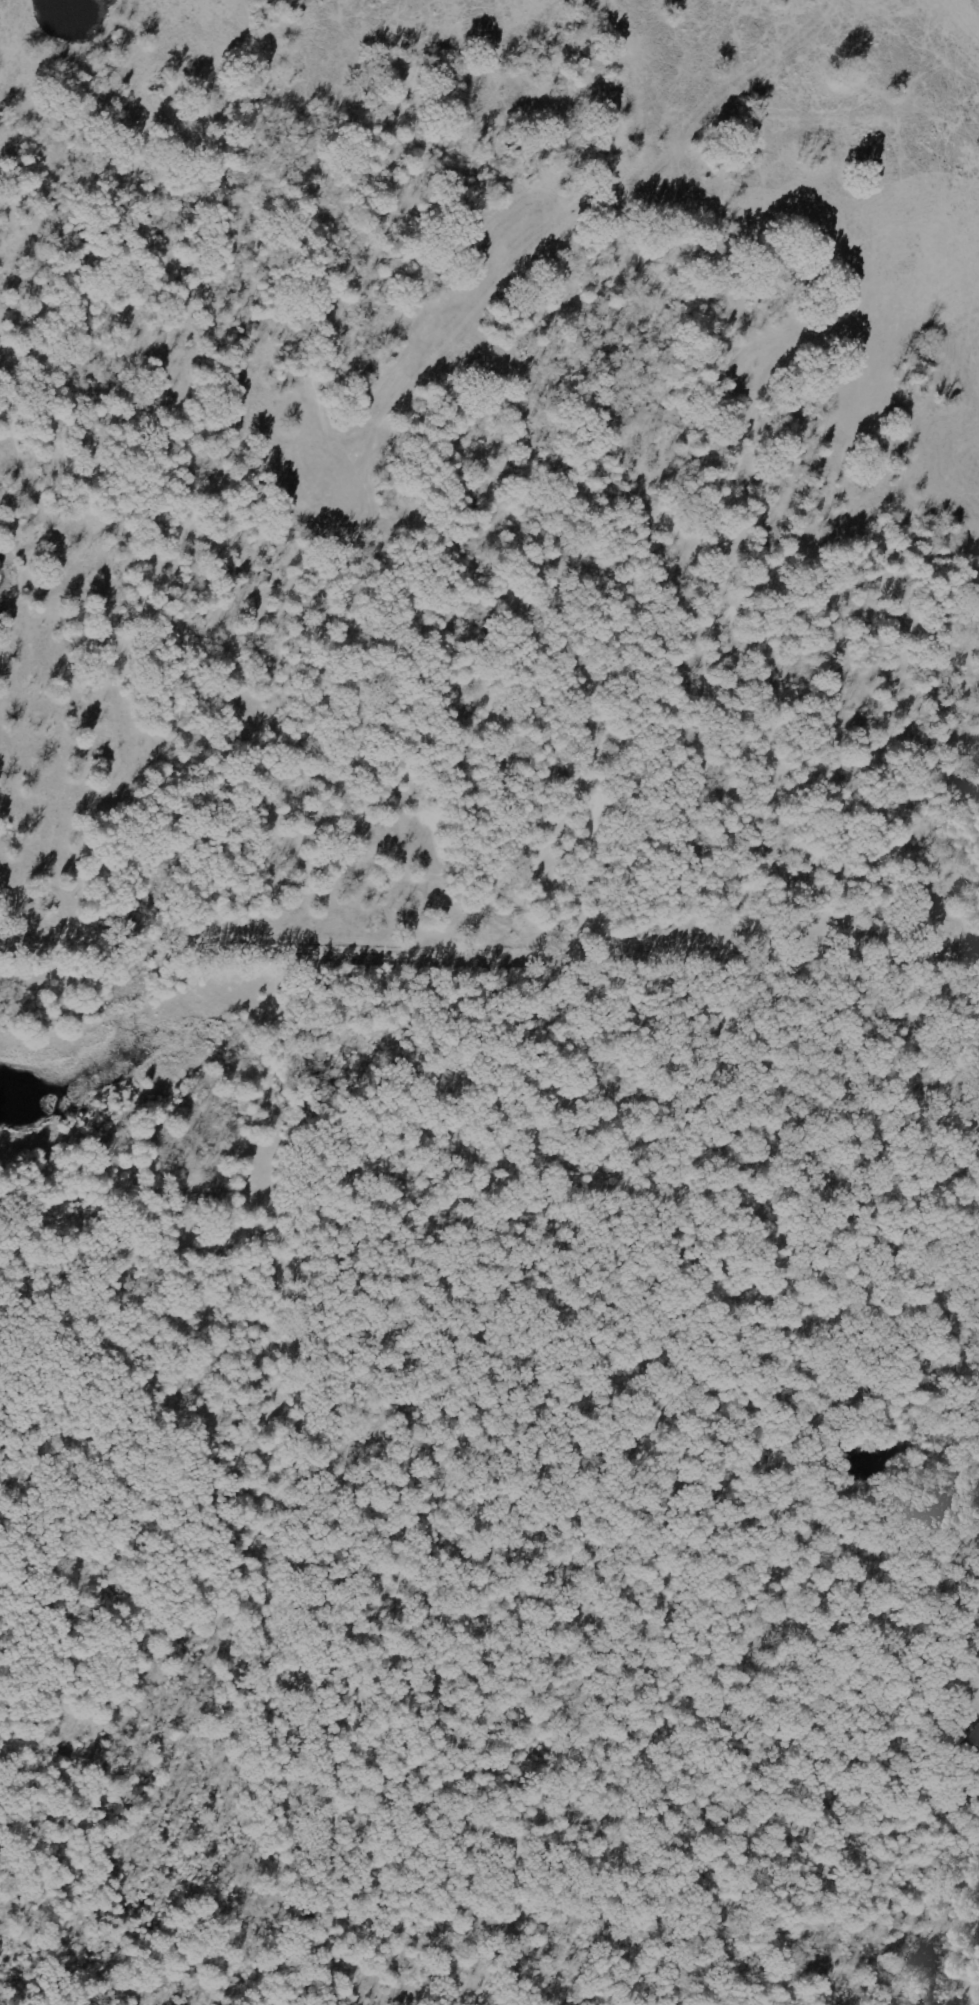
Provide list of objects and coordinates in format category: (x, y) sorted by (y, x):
road: (487, 960)

